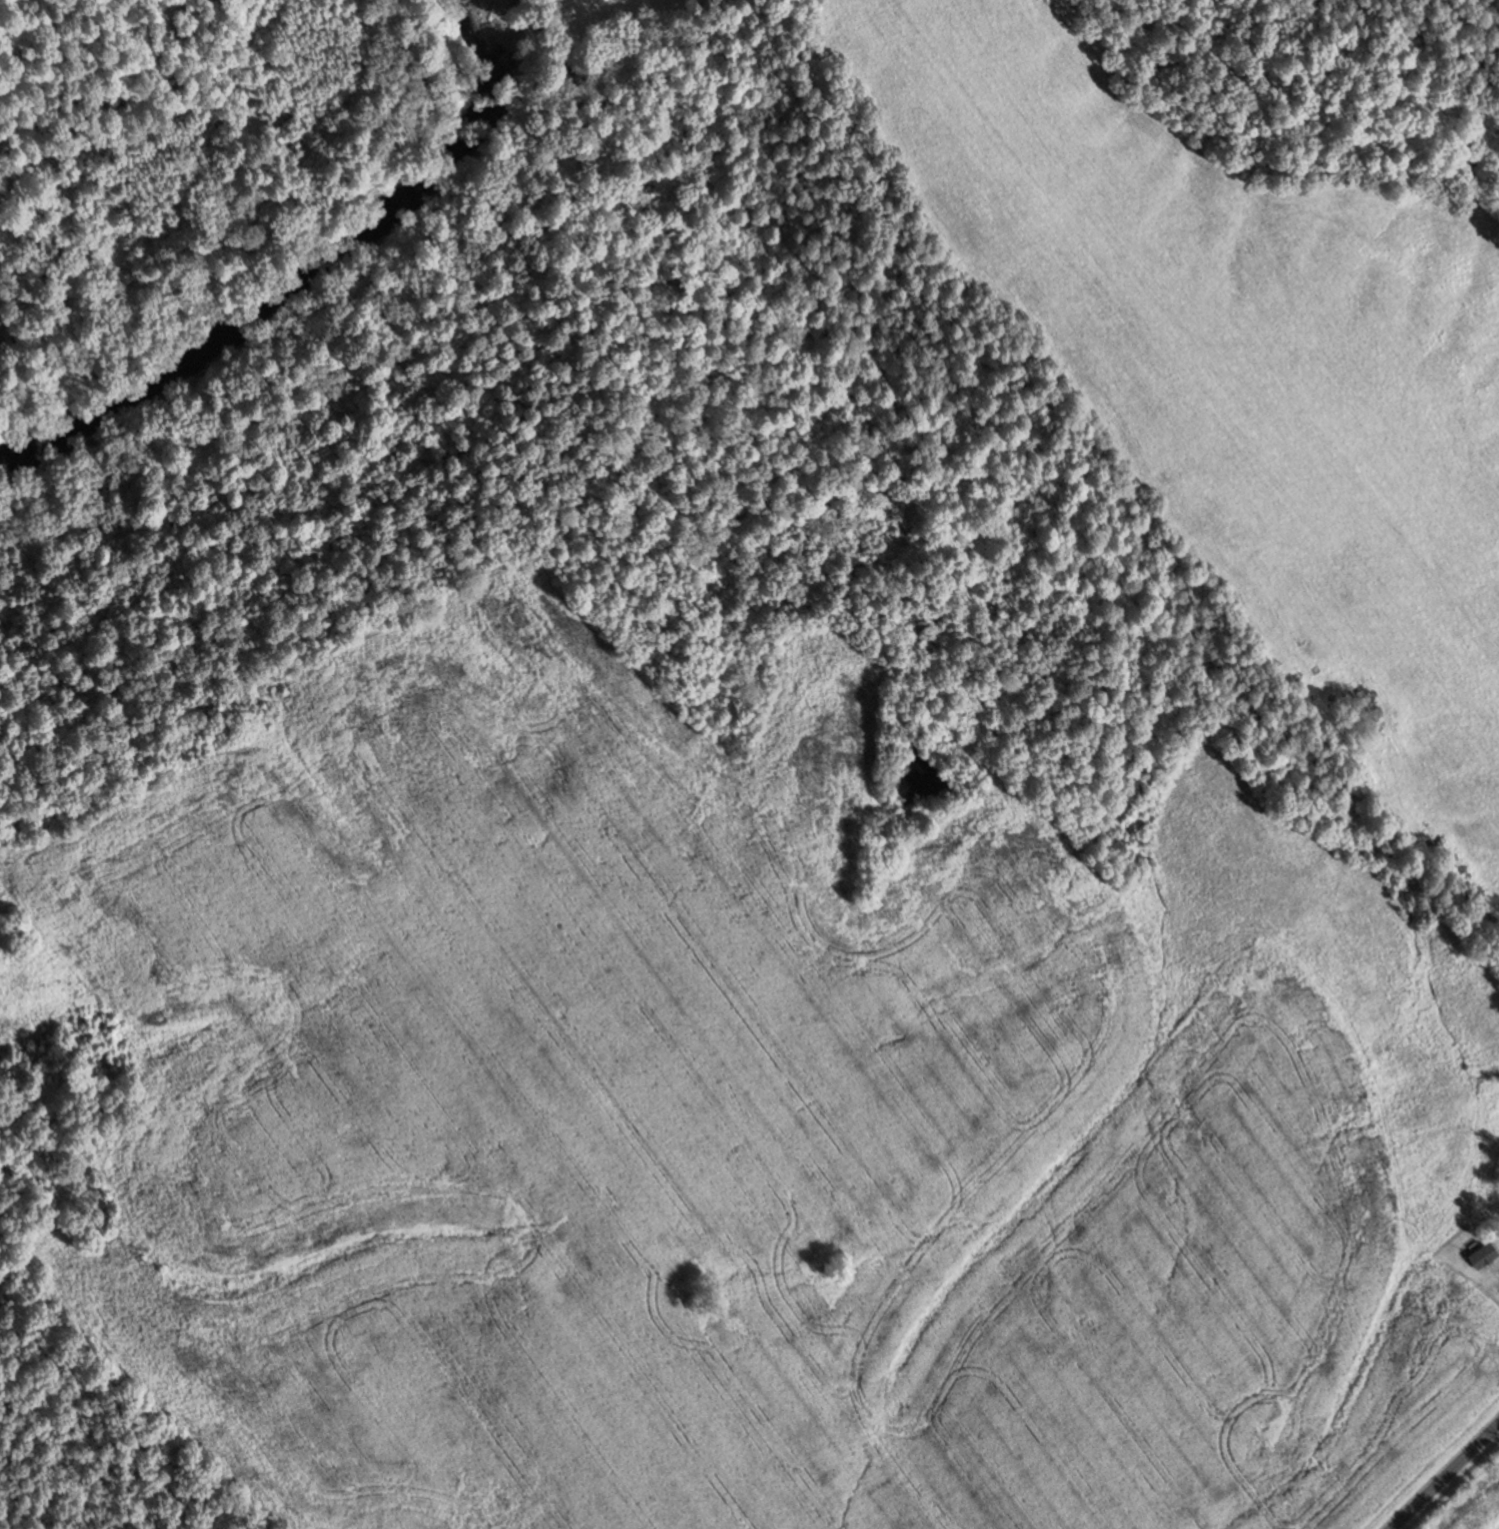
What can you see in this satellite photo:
road: (1446, 1476)

